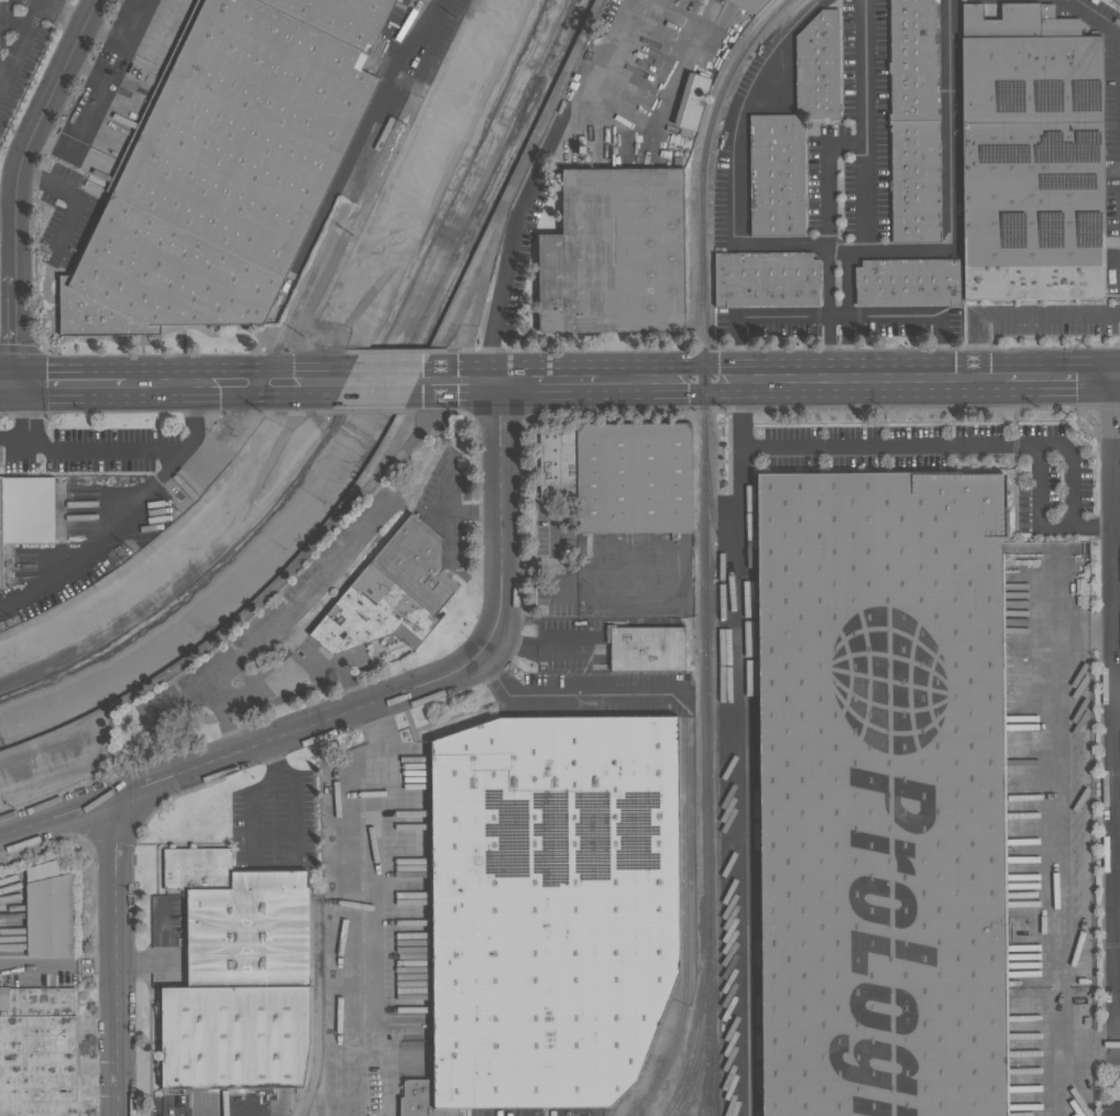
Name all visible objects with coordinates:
road: (34, 2)
road: (40, 2)
building: (749, 4)
road: (61, 15)
road: (1094, 18)
road: (14, 25)
road: (670, 29)
road: (125, 41)
road: (19, 45)
parking lot: (18, 48)
road: (617, 51)
road: (3, 70)
building: (692, 101)
road: (90, 112)
building: (915, 121)
building: (793, 131)
road: (867, 138)
railway: (354, 157)
road: (733, 157)
building: (226, 166)
building: (1032, 166)
road: (951, 180)
road: (11, 183)
road: (6, 195)
road: (867, 195)
road: (74, 198)
road: (517, 227)
building: (615, 253)
building: (767, 280)
building: (909, 282)
road: (837, 314)
road: (836, 316)
road: (1020, 317)
road: (1058, 375)
traffic signals: (1112, 375)
road: (1116, 375)
road: (872, 379)
road: (549, 380)
road: (669, 380)
road: (384, 381)
road: (460, 381)
road: (75, 383)
road: (237, 383)
road: (11, 384)
traffic signals: (23, 384)
road: (29, 411)
road: (15, 438)
road: (934, 444)
road: (141, 450)
railway: (706, 451)
building: (0, 453)
building: (559, 464)
building: (634, 478)
road: (452, 511)
road: (1117, 524)
road: (449, 535)
building: (0, 550)
building: (417, 564)
railway: (32, 587)
building: (372, 614)
road: (279, 624)
road: (1103, 631)
building: (648, 647)
road: (299, 672)
road: (1116, 682)
road: (426, 683)
road: (567, 696)
road: (178, 699)
road: (1118, 708)
road: (377, 721)
railway: (755, 767)
building: (882, 792)
road: (1059, 792)
road: (293, 799)
road: (252, 814)
road: (54, 818)
building: (198, 868)
building: (553, 906)
building: (50, 910)
road: (381, 916)
railway: (688, 922)
road: (112, 960)
road: (56, 965)
building: (241, 989)
building: (37, 1002)
railway: (314, 1010)
railway: (709, 1022)
railway: (700, 1025)
road: (1057, 1042)
railway: (703, 1054)
building: (37, 1065)
road: (1056, 1079)
railway: (712, 1087)
building: (422, 1099)
road: (1119, 1112)

